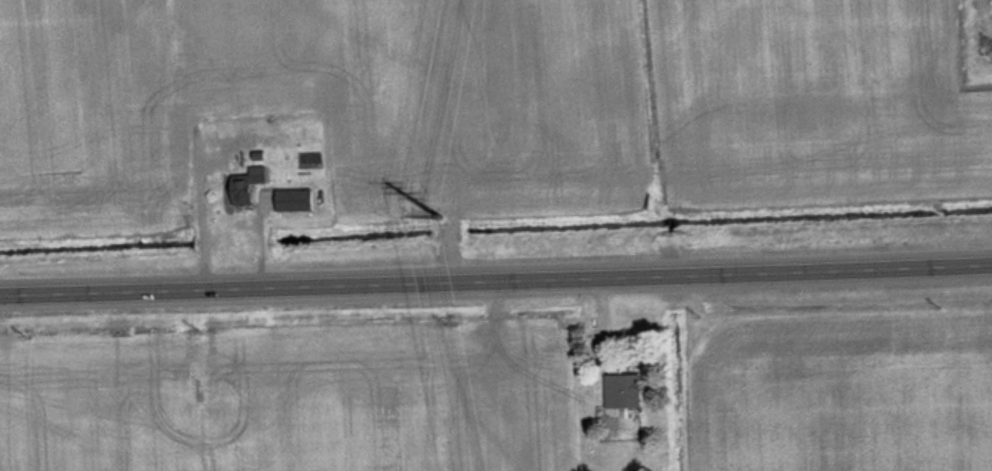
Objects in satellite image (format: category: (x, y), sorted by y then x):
building: (260, 94)
building: (183, 153)
building: (253, 187)
power tower: (431, 194)
building: (300, 200)
road: (496, 277)
building: (631, 392)

